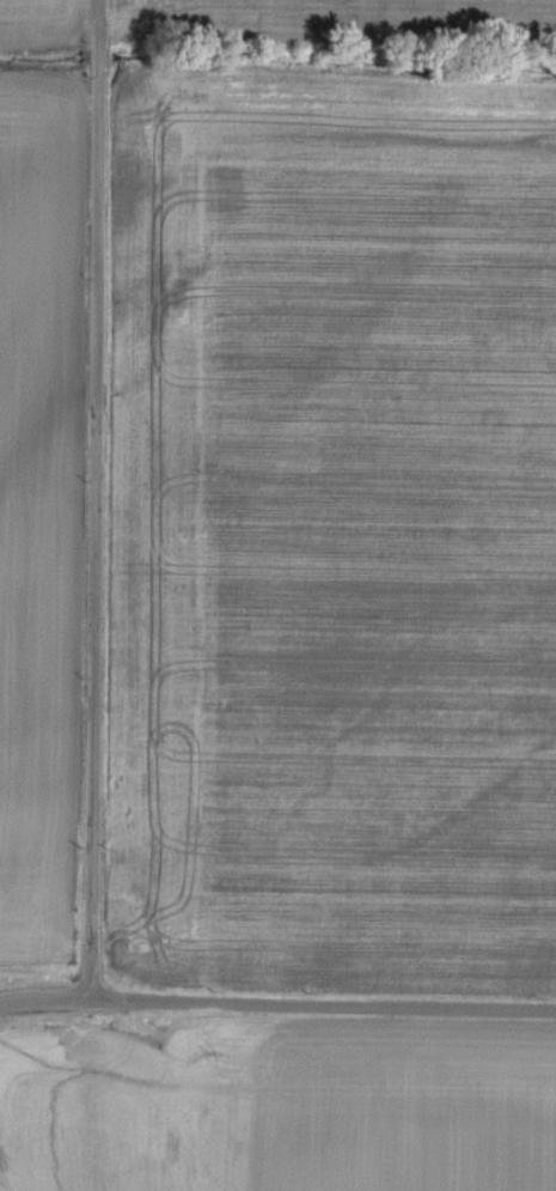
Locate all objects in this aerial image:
road: (97, 500)
road: (277, 1005)

